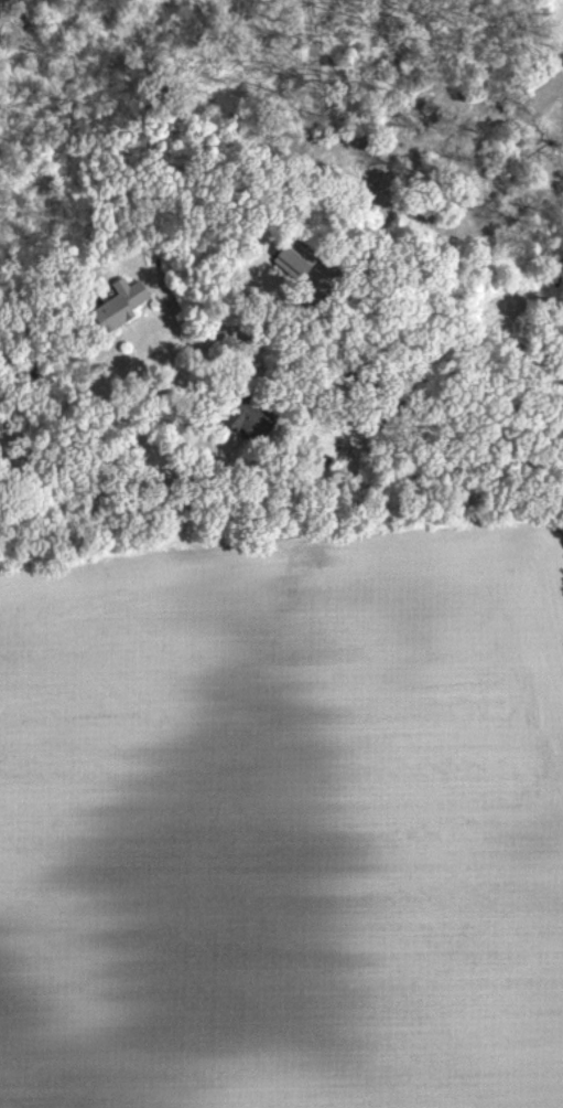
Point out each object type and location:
road: (484, 173)
building: (291, 264)
building: (119, 307)
building: (248, 422)
road: (349, 732)

